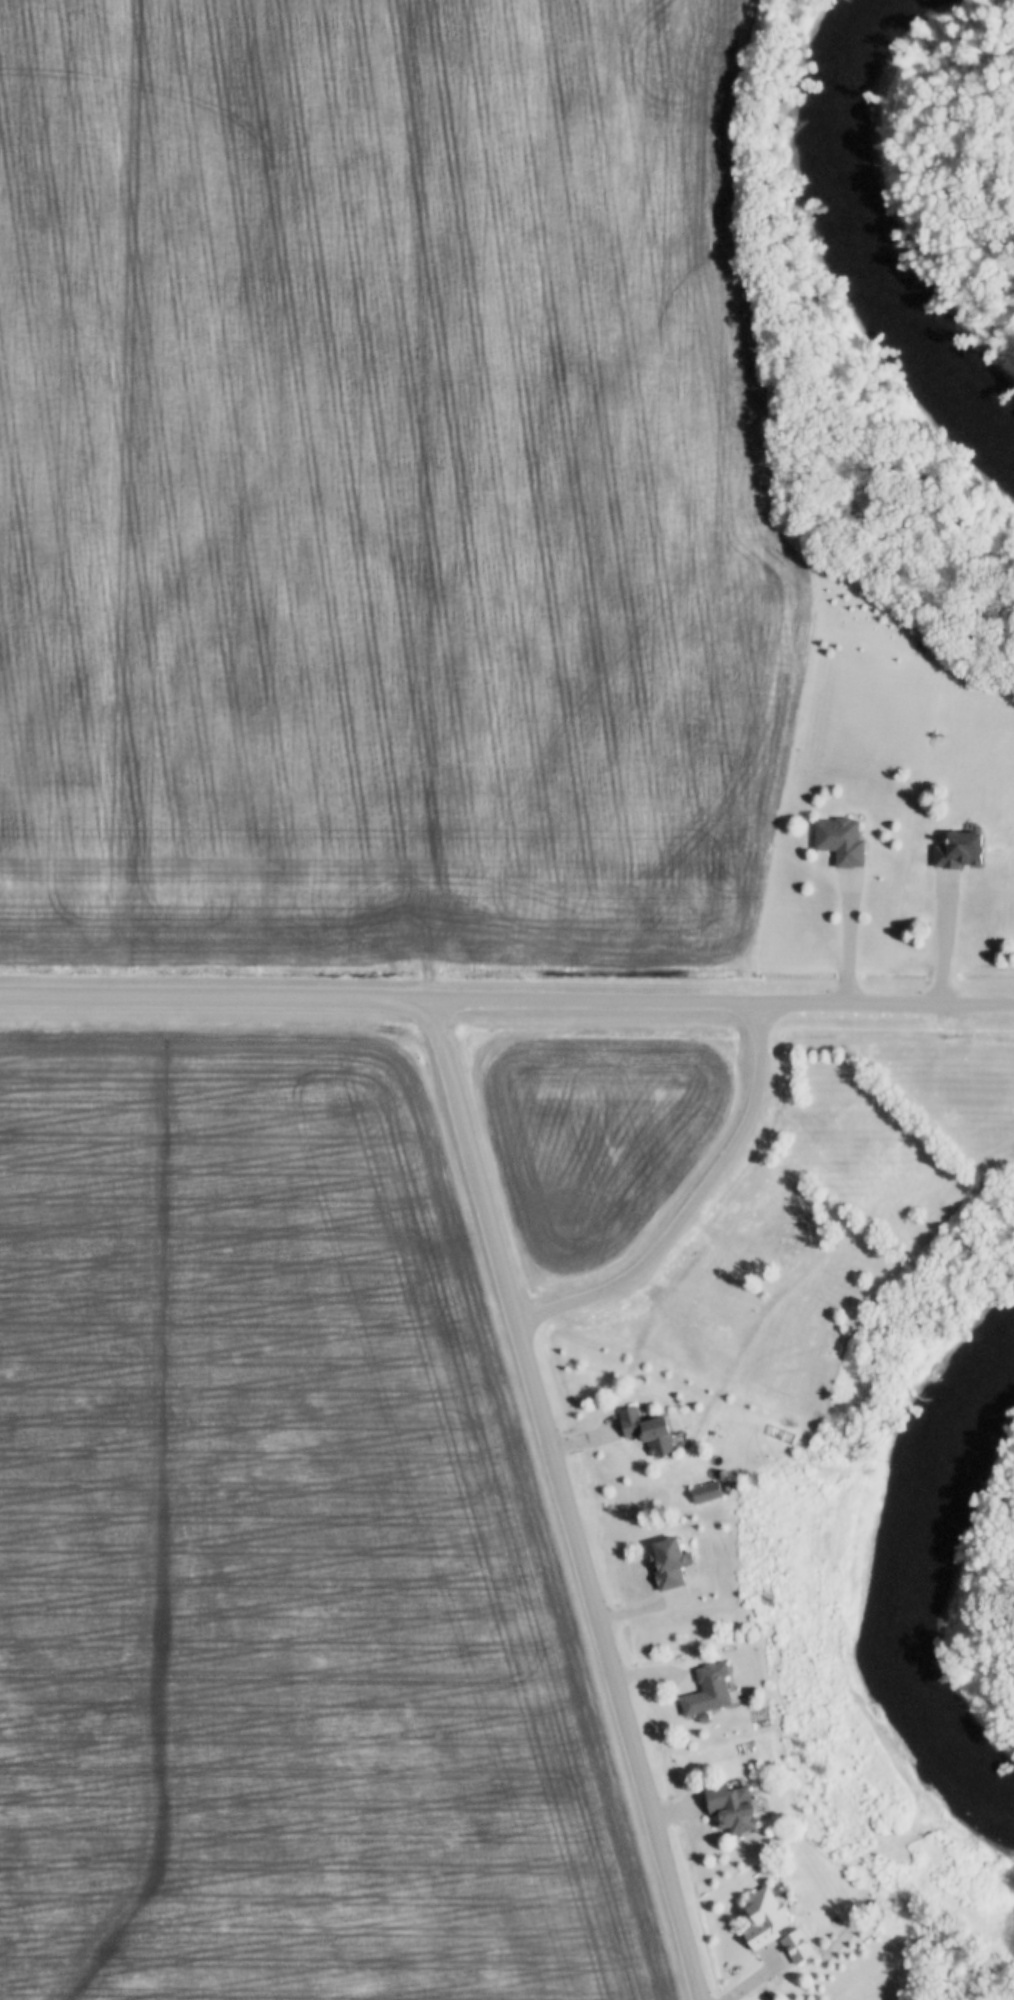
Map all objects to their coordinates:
river: (855, 89)
river: (913, 330)
building: (841, 840)
building: (959, 849)
road: (849, 937)
road: (944, 939)
road: (507, 997)
road: (695, 1204)
building: (648, 1429)
building: (706, 1491)
road: (563, 1498)
building: (669, 1562)
river: (913, 1577)
building: (708, 1689)
building: (731, 1806)
building: (764, 1917)
building: (797, 1945)
road: (760, 1976)

